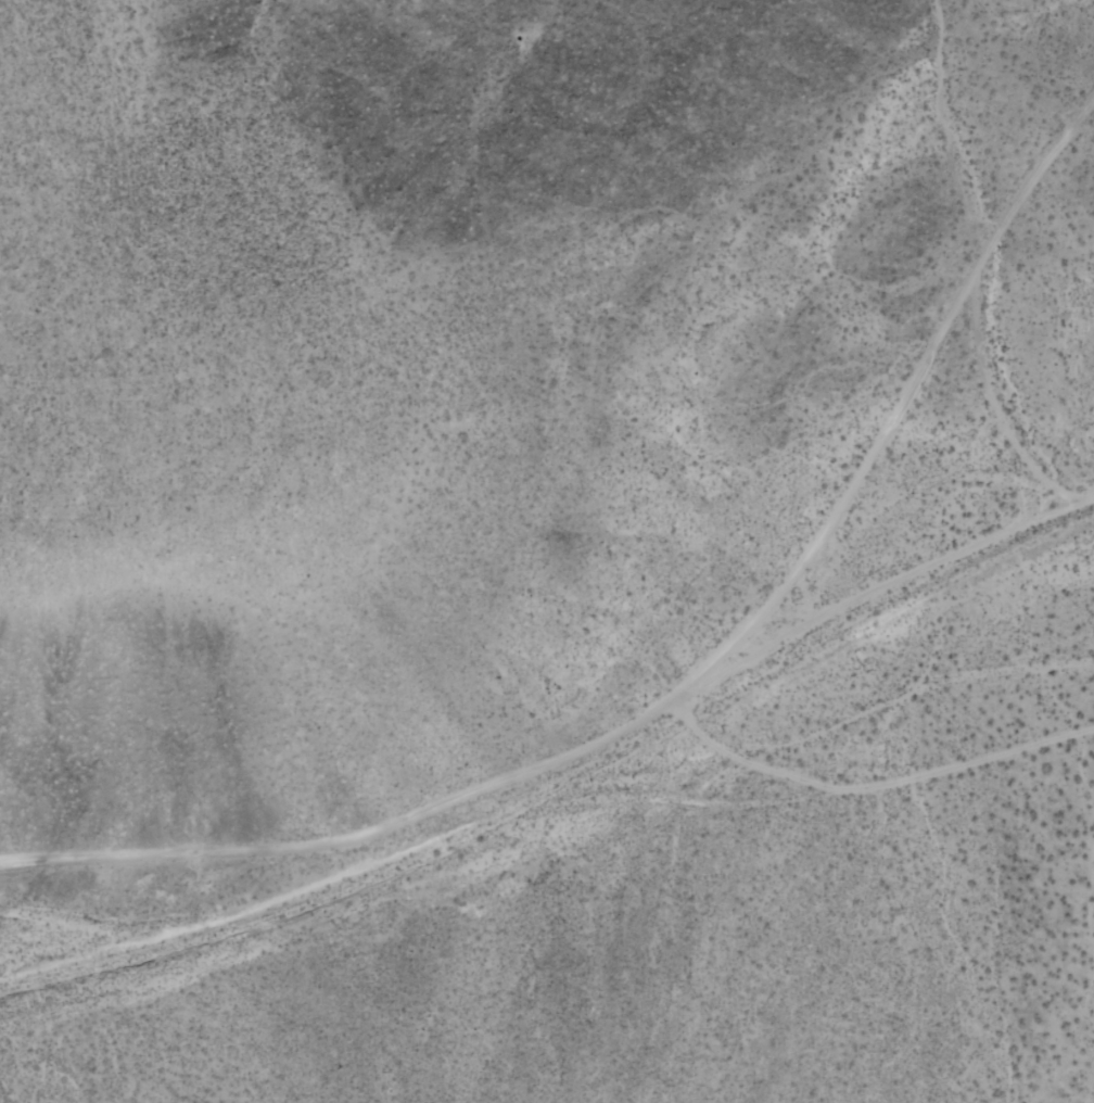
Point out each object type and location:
road: (684, 683)

